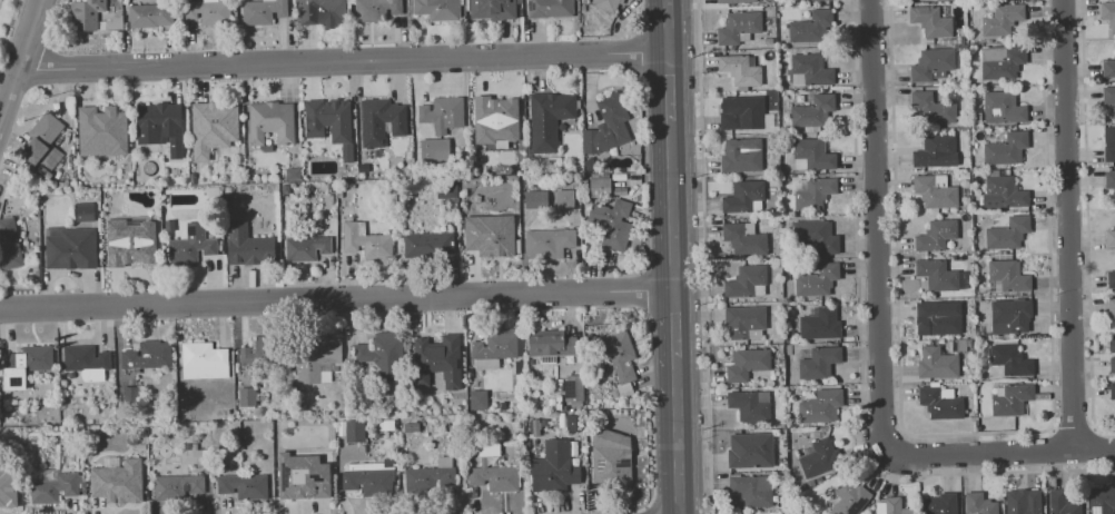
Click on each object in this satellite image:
building: (797, 0)
building: (813, 0)
building: (736, 1)
building: (786, 2)
rooftop solar panel: (530, 7)
building: (549, 8)
building: (760, 8)
building: (437, 9)
building: (492, 9)
building: (208, 11)
building: (263, 11)
building: (320, 12)
building: (85, 13)
building: (1109, 13)
building: (149, 16)
building: (1003, 19)
building: (933, 20)
road: (665, 27)
building: (740, 27)
building: (812, 27)
building: (769, 40)
building: (961, 40)
building: (964, 48)
road: (19, 55)
road: (341, 59)
building: (1003, 61)
building: (934, 65)
building: (1108, 68)
building: (742, 70)
building: (811, 70)
road: (667, 88)
building: (1109, 98)
building: (1004, 108)
building: (934, 109)
building: (743, 112)
building: (815, 112)
building: (442, 113)
building: (549, 118)
building: (495, 120)
building: (272, 121)
building: (381, 121)
building: (329, 122)
building: (160, 126)
building: (606, 126)
building: (213, 127)
building: (785, 129)
building: (101, 130)
building: (43, 141)
building: (1109, 144)
building: (434, 149)
building: (1007, 149)
building: (937, 151)
building: (813, 155)
building: (742, 156)
building: (774, 171)
building: (929, 172)
building: (965, 176)
building: (1111, 179)
building: (446, 189)
building: (815, 191)
building: (937, 191)
building: (1004, 192)
building: (744, 196)
building: (564, 198)
building: (535, 199)
road: (670, 207)
building: (83, 211)
building: (612, 223)
road: (1087, 223)
road: (1068, 225)
road: (876, 227)
rooftop solar panel: (189, 233)
building: (1009, 233)
building: (490, 235)
building: (937, 235)
building: (818, 236)
building: (1111, 238)
building: (746, 239)
building: (365, 240)
building: (9, 243)
building: (129, 243)
building: (547, 243)
building: (427, 245)
building: (190, 246)
building: (248, 246)
building: (70, 247)
building: (306, 248)
road: (704, 257)
building: (766, 258)
building: (941, 276)
building: (1008, 276)
building: (1111, 279)
building: (818, 280)
building: (748, 281)
road: (335, 297)
building: (796, 303)
building: (1112, 306)
building: (974, 307)
building: (1012, 316)
building: (940, 318)
road: (672, 323)
building: (747, 323)
building: (820, 323)
building: (790, 336)
building: (551, 343)
building: (959, 345)
building: (1113, 345)
building: (495, 348)
building: (790, 348)
building: (260, 352)
building: (382, 354)
building: (147, 355)
building: (620, 355)
building: (315, 357)
rooftop solar panel: (547, 359)
road: (860, 359)
building: (204, 360)
building: (437, 360)
building: (1012, 360)
building: (86, 362)
building: (820, 363)
building: (938, 363)
building: (24, 364)
building: (748, 364)
building: (1112, 364)
road: (673, 375)
rooftop solar panel: (570, 388)
building: (1113, 389)
building: (573, 391)
building: (129, 395)
building: (247, 396)
building: (477, 399)
building: (1013, 399)
building: (943, 402)
building: (752, 405)
building: (821, 406)
road: (1074, 427)
building: (354, 431)
road: (977, 434)
road: (1094, 447)
road: (1054, 448)
building: (752, 451)
road: (998, 452)
building: (193, 454)
road: (675, 454)
building: (820, 457)
building: (611, 459)
rooftop solar panel: (622, 462)
rooftop solar panel: (599, 464)
building: (553, 467)
building: (492, 472)
rooftop solar panel: (285, 476)
building: (303, 476)
building: (430, 476)
rooftop solar panel: (318, 477)
building: (368, 477)
building: (820, 480)
building: (118, 482)
building: (811, 483)
building: (178, 486)
building: (243, 486)
building: (52, 487)
building: (754, 490)
building: (8, 494)
building: (851, 498)
building: (1103, 501)
building: (1025, 502)
building: (1045, 503)
building: (1063, 503)
building: (943, 504)
building: (980, 504)
building: (894, 506)
rooftop solar panel: (857, 508)

